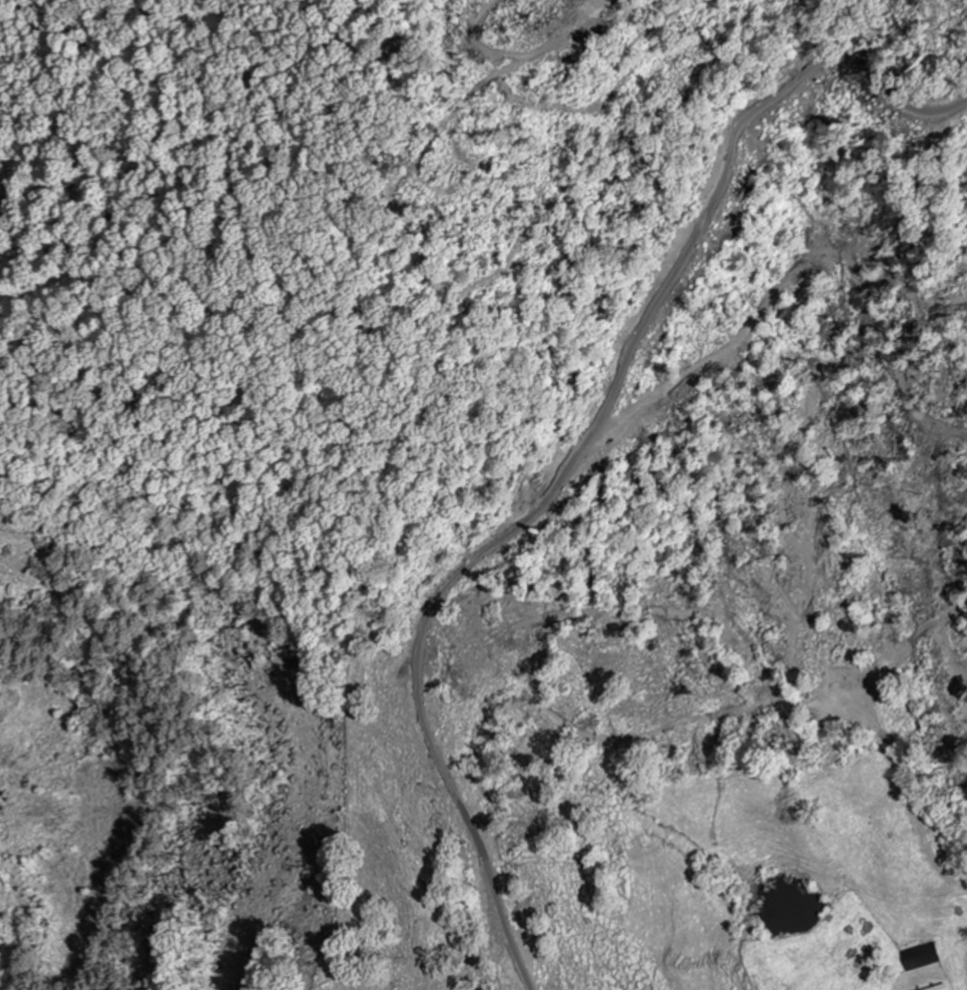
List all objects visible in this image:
building: (921, 958)
building: (942, 988)

